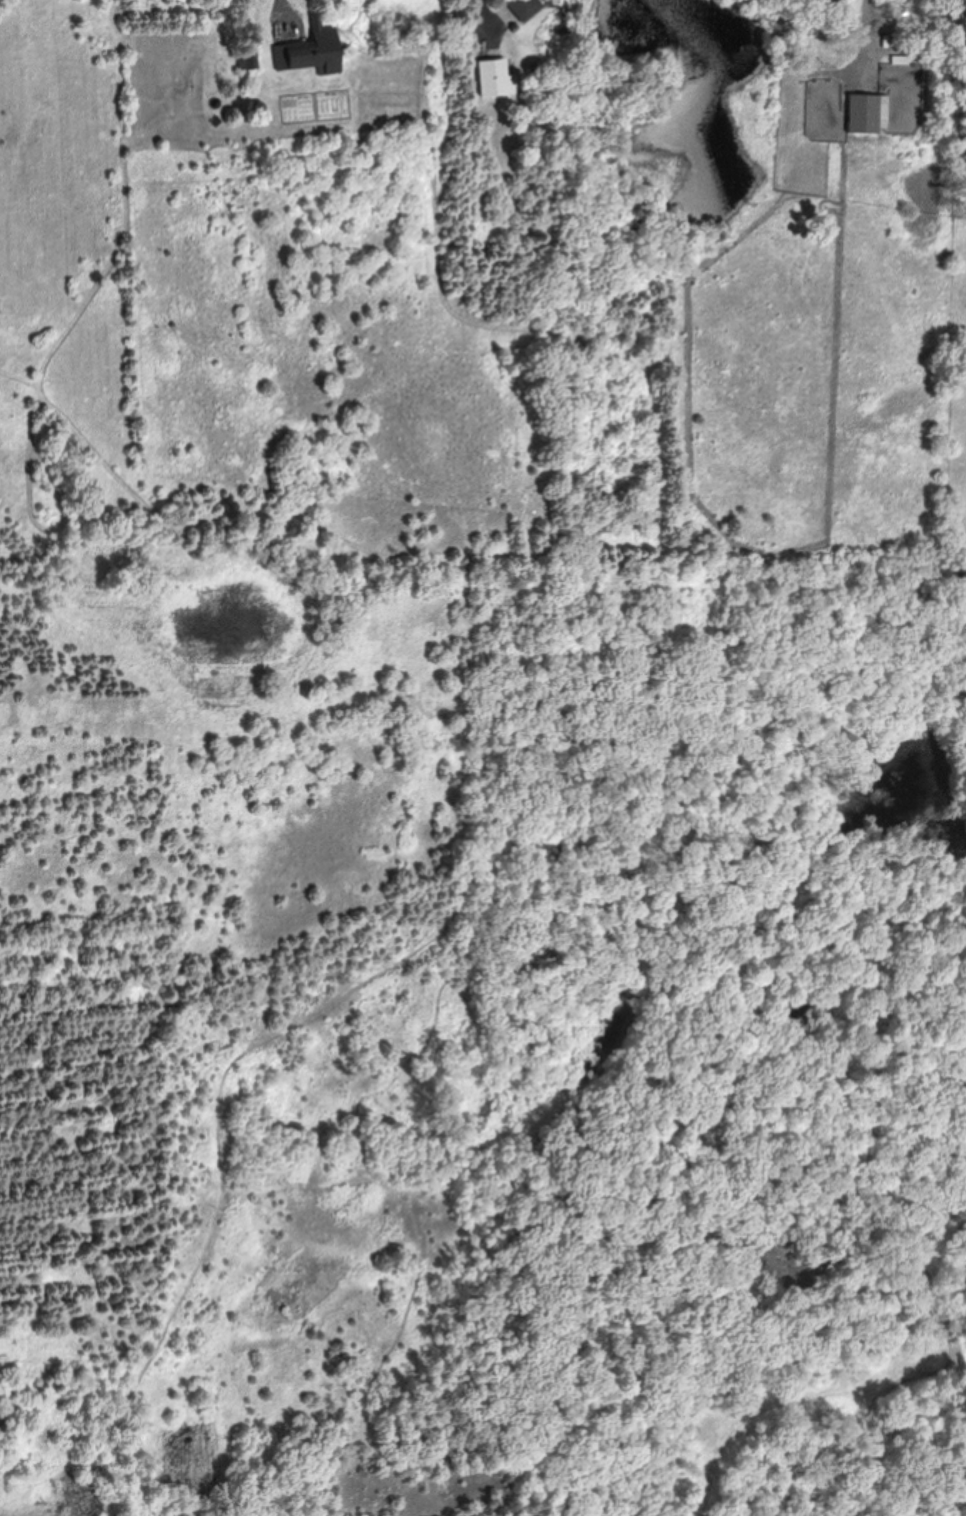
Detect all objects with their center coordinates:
building: (523, 8)
road: (280, 10)
building: (313, 52)
building: (246, 61)
building: (496, 78)
building: (864, 113)

